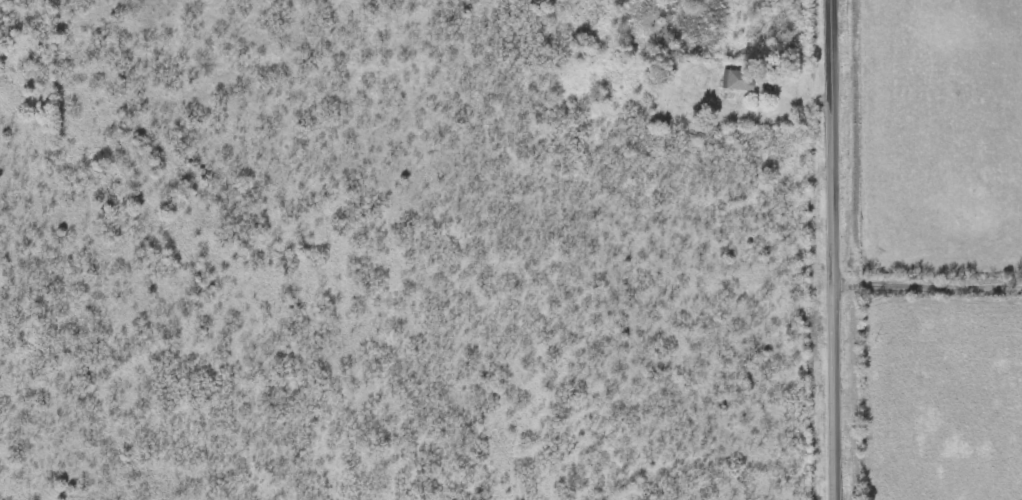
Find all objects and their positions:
building: (738, 79)
road: (787, 104)
road: (833, 249)
road: (927, 284)

